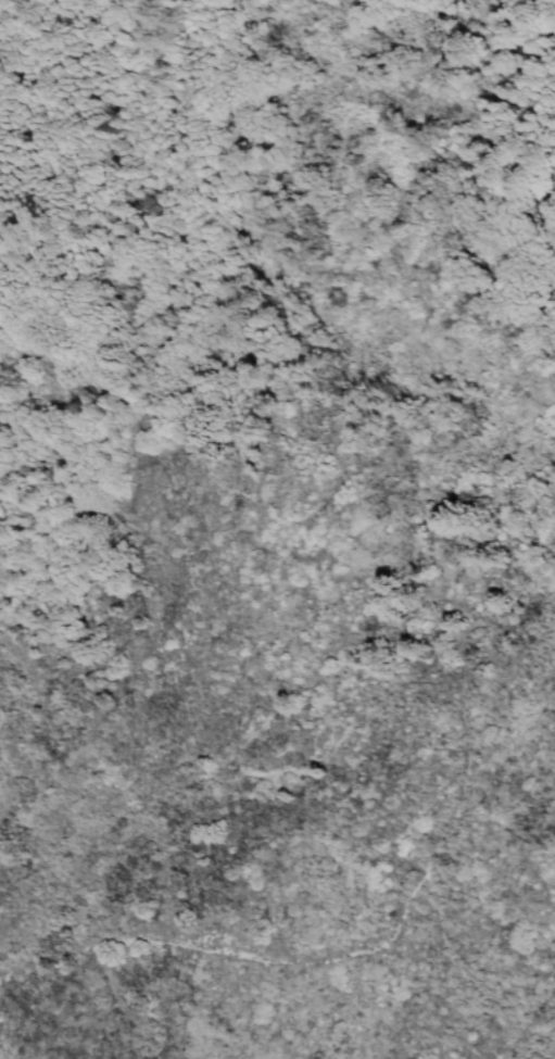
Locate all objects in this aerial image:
road: (394, 935)

